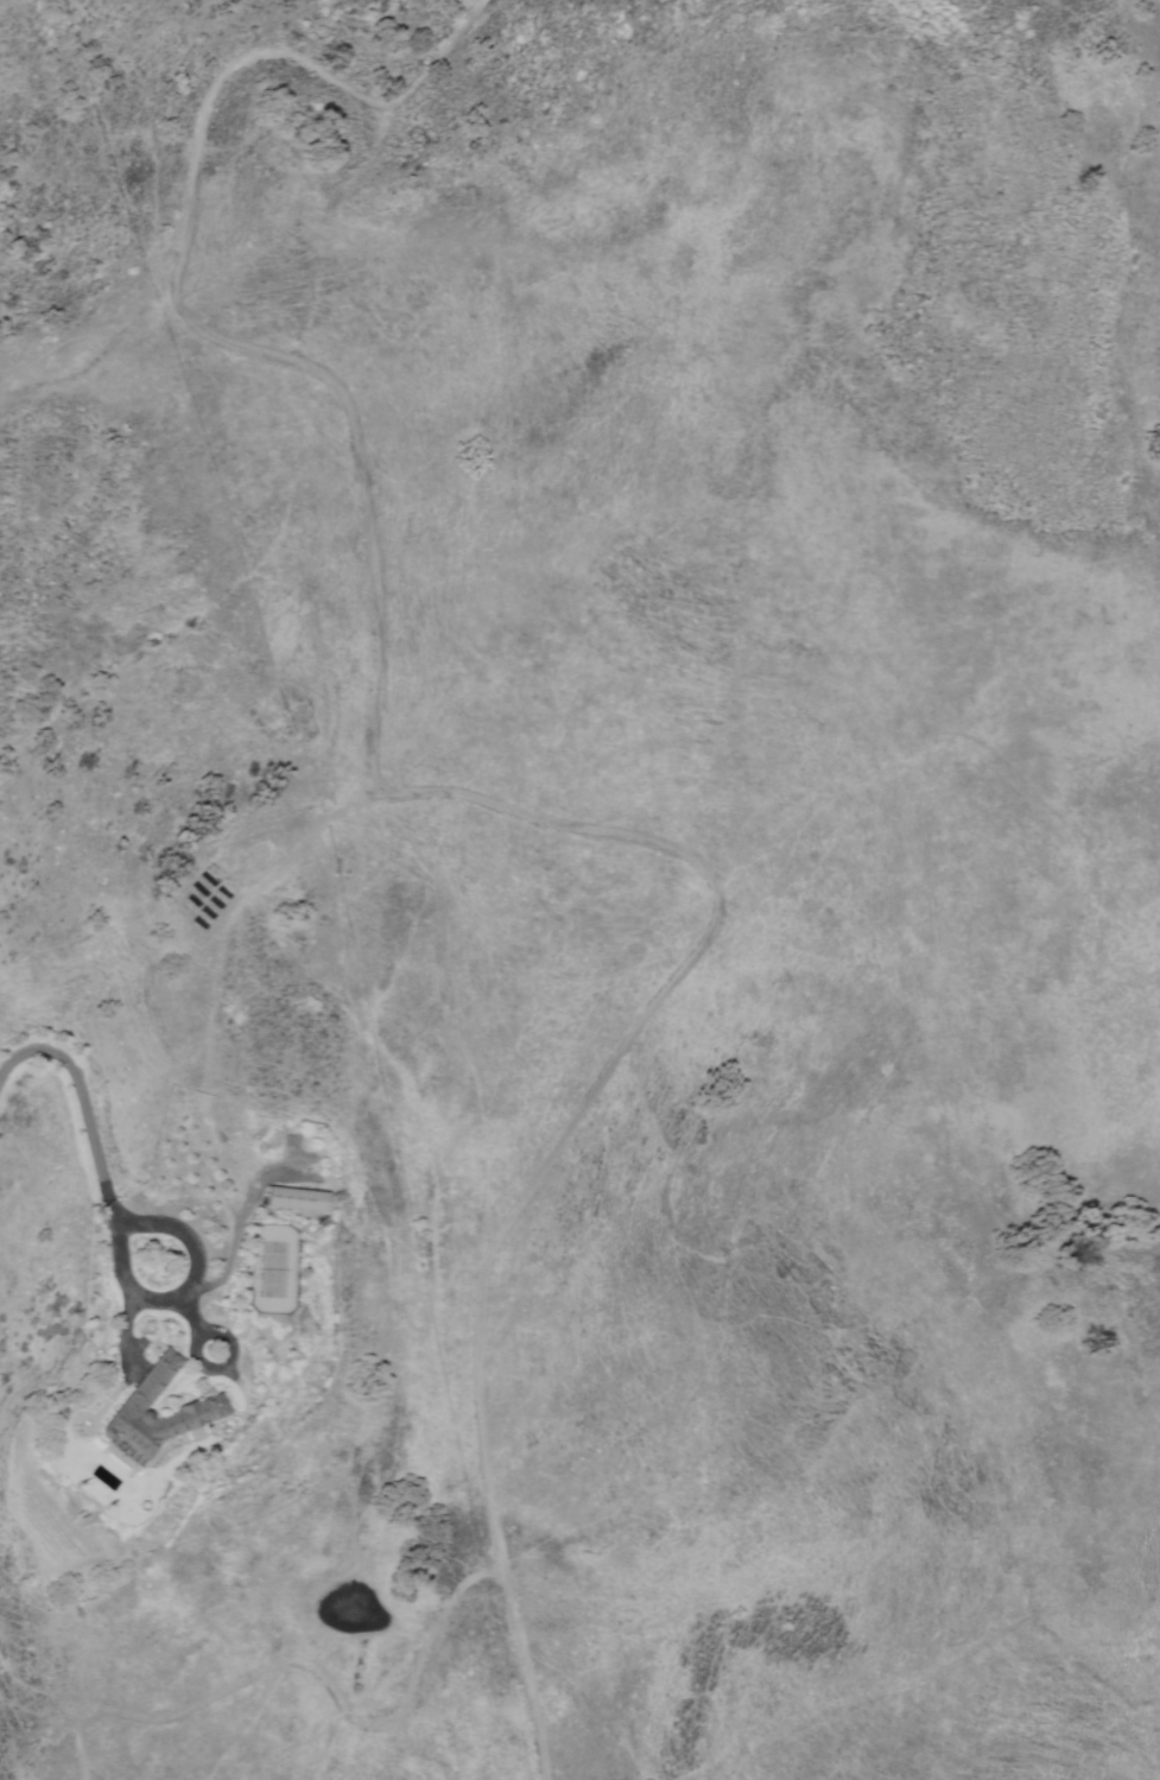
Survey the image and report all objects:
road: (475, 791)
building: (292, 1198)
building: (137, 1399)

